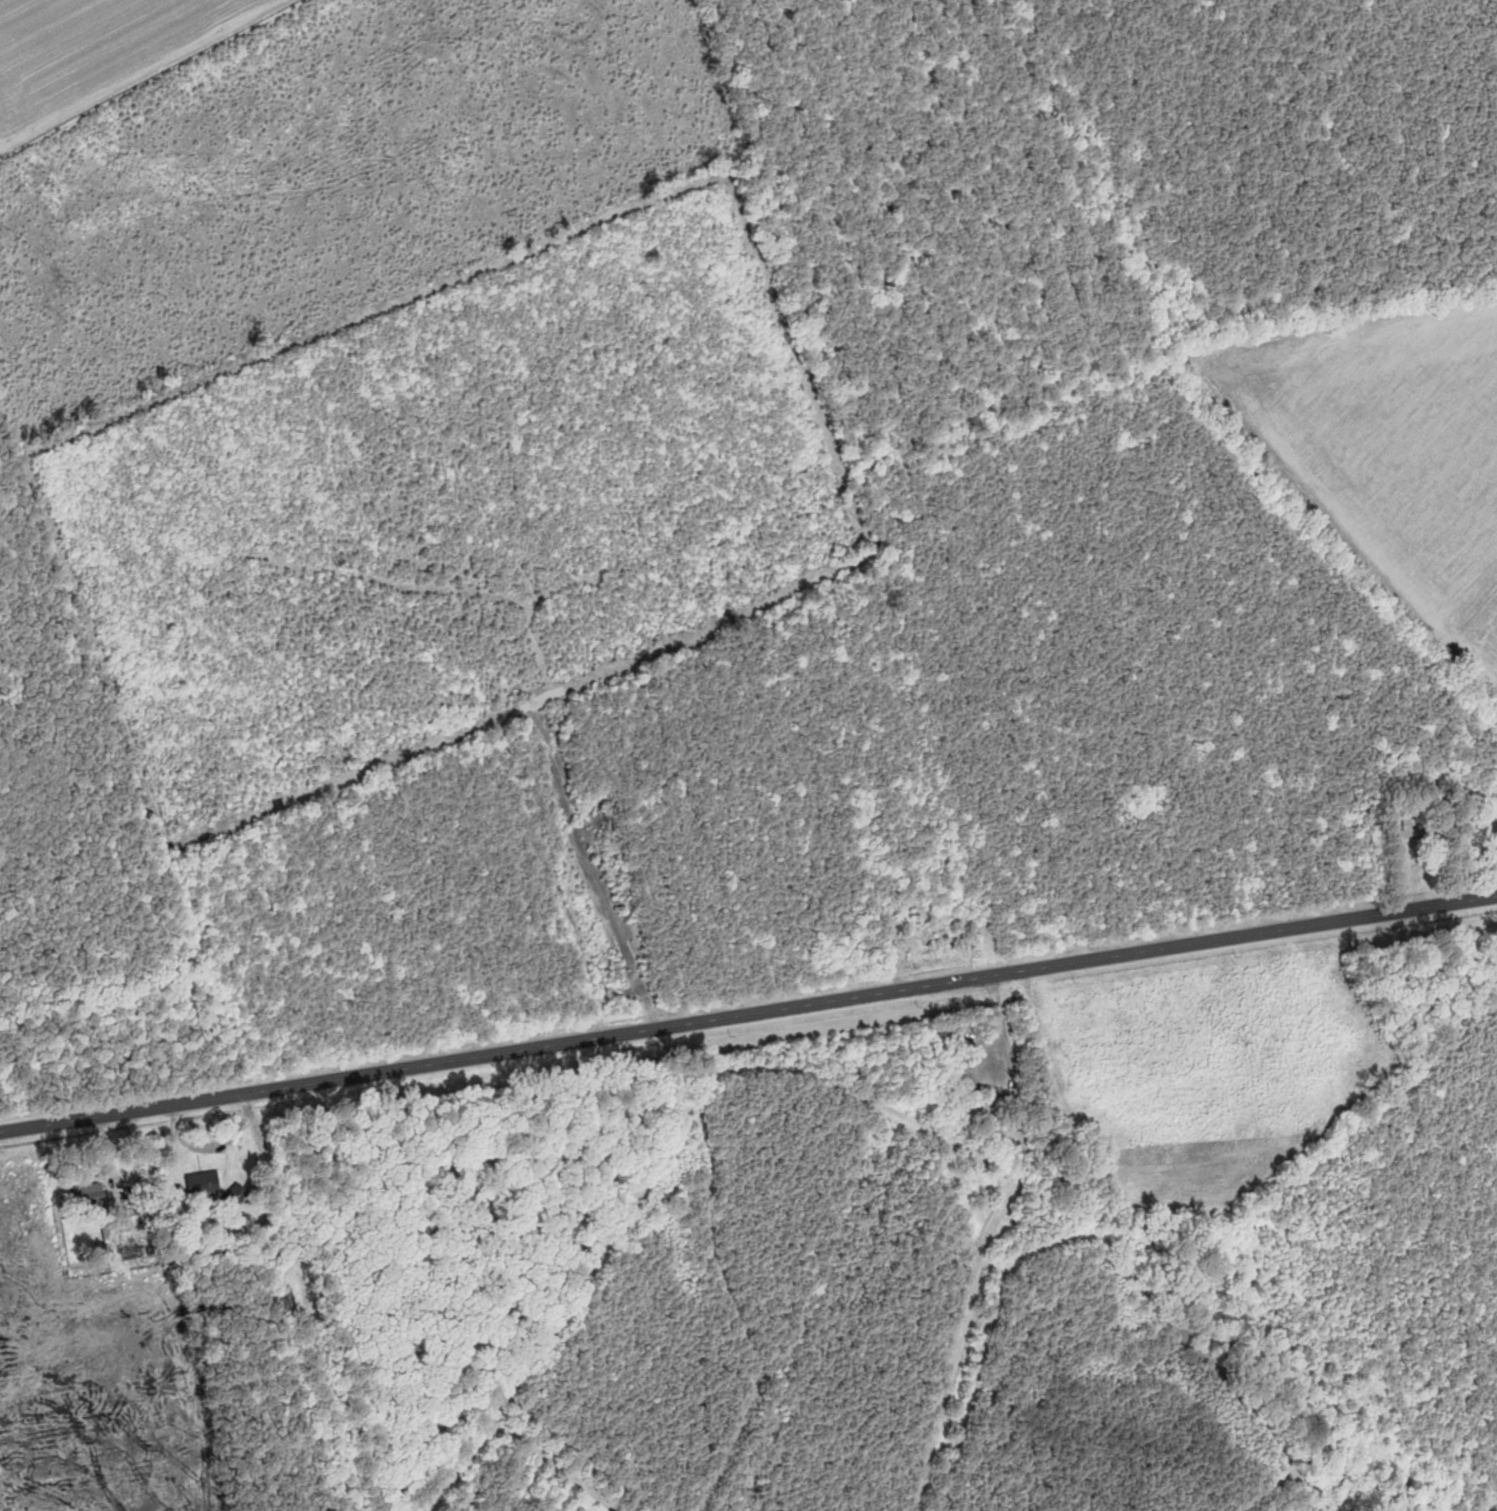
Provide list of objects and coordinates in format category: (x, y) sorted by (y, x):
building: (1407, 828)
road: (748, 1013)
building: (202, 1183)
building: (88, 1194)
building: (234, 1196)
park: (772, 1294)
road: (329, 1299)

